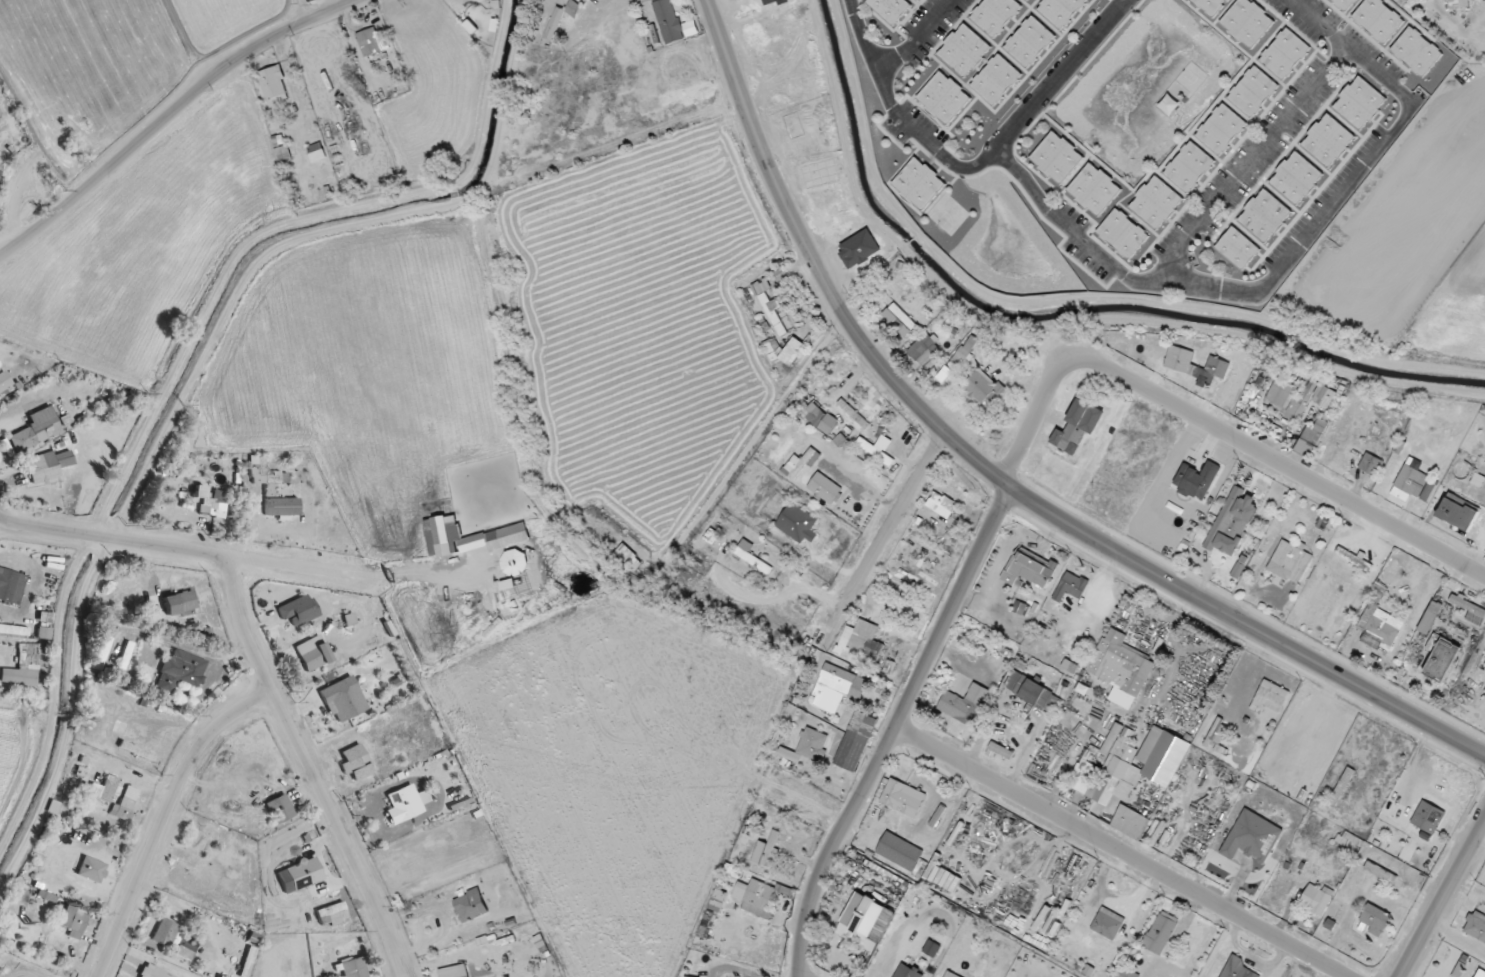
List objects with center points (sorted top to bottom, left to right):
building: (1028, 0)
building: (1345, 3)
building: (1458, 3)
building: (1211, 5)
building: (889, 9)
building: (1060, 10)
building: (995, 15)
building: (560, 18)
building: (1378, 19)
building: (672, 22)
building: (1247, 22)
road: (860, 34)
road: (916, 39)
building: (1029, 41)
building: (964, 50)
building: (1416, 51)
building: (1285, 53)
road: (591, 69)
building: (995, 79)
building: (274, 86)
building: (1253, 91)
road: (1043, 94)
building: (943, 98)
building: (1360, 103)
road: (170, 114)
road: (904, 122)
building: (1221, 129)
building: (1328, 140)
building: (316, 154)
building: (1057, 157)
road: (1247, 165)
building: (1189, 167)
building: (1296, 178)
building: (919, 184)
building: (1095, 189)
building: (1156, 202)
building: (1265, 215)
building: (1123, 233)
building: (1237, 248)
road: (1287, 260)
building: (770, 305)
building: (899, 320)
building: (924, 349)
building: (783, 352)
building: (966, 352)
building: (1177, 363)
building: (4, 381)
building: (983, 388)
building: (1325, 396)
building: (1289, 398)
building: (850, 411)
building: (820, 418)
building: (38, 426)
building: (1078, 426)
road: (1216, 427)
building: (1311, 437)
building: (842, 442)
building: (800, 463)
building: (1370, 464)
building: (45, 467)
building: (266, 475)
road: (994, 476)
building: (1196, 479)
building: (1409, 483)
building: (824, 487)
building: (1429, 489)
building: (214, 503)
building: (941, 505)
building: (282, 506)
building: (1458, 512)
building: (1232, 521)
building: (798, 523)
road: (888, 528)
road: (171, 547)
building: (750, 556)
building: (628, 557)
building: (1354, 559)
building: (1289, 562)
building: (1240, 566)
building: (1029, 569)
building: (11, 586)
building: (1071, 586)
building: (180, 602)
building: (298, 610)
building: (1430, 617)
building: (1379, 622)
building: (12, 629)
building: (860, 641)
building: (312, 653)
building: (1441, 657)
road: (3, 659)
building: (22, 666)
building: (1069, 666)
building: (1120, 668)
building: (180, 671)
building: (838, 687)
building: (1033, 692)
building: (1269, 697)
building: (343, 699)
building: (964, 702)
building: (1218, 731)
road: (897, 732)
building: (856, 741)
building: (806, 746)
building: (1001, 750)
building: (356, 762)
building: (1131, 764)
road: (309, 768)
building: (103, 789)
building: (902, 798)
building: (126, 803)
building: (403, 804)
building: (279, 808)
building: (1428, 817)
road: (166, 818)
building: (1130, 822)
building: (1252, 837)
building: (765, 849)
building: (899, 851)
road: (1123, 852)
building: (91, 869)
building: (1380, 872)
building: (299, 875)
building: (1316, 898)
road: (1441, 898)
building: (470, 906)
building: (714, 907)
building: (332, 914)
building: (1375, 919)
building: (72, 920)
building: (865, 922)
building: (1107, 923)
building: (1476, 925)
building: (165, 932)
building: (1160, 932)
building: (183, 951)
building: (247, 962)
building: (0, 967)
building: (352, 968)
building: (1237, 968)
building: (454, 971)
building: (907, 971)
building: (152, 972)
building: (1127, 973)
building: (950, 974)
building: (1480, 974)
building: (686, 976)

